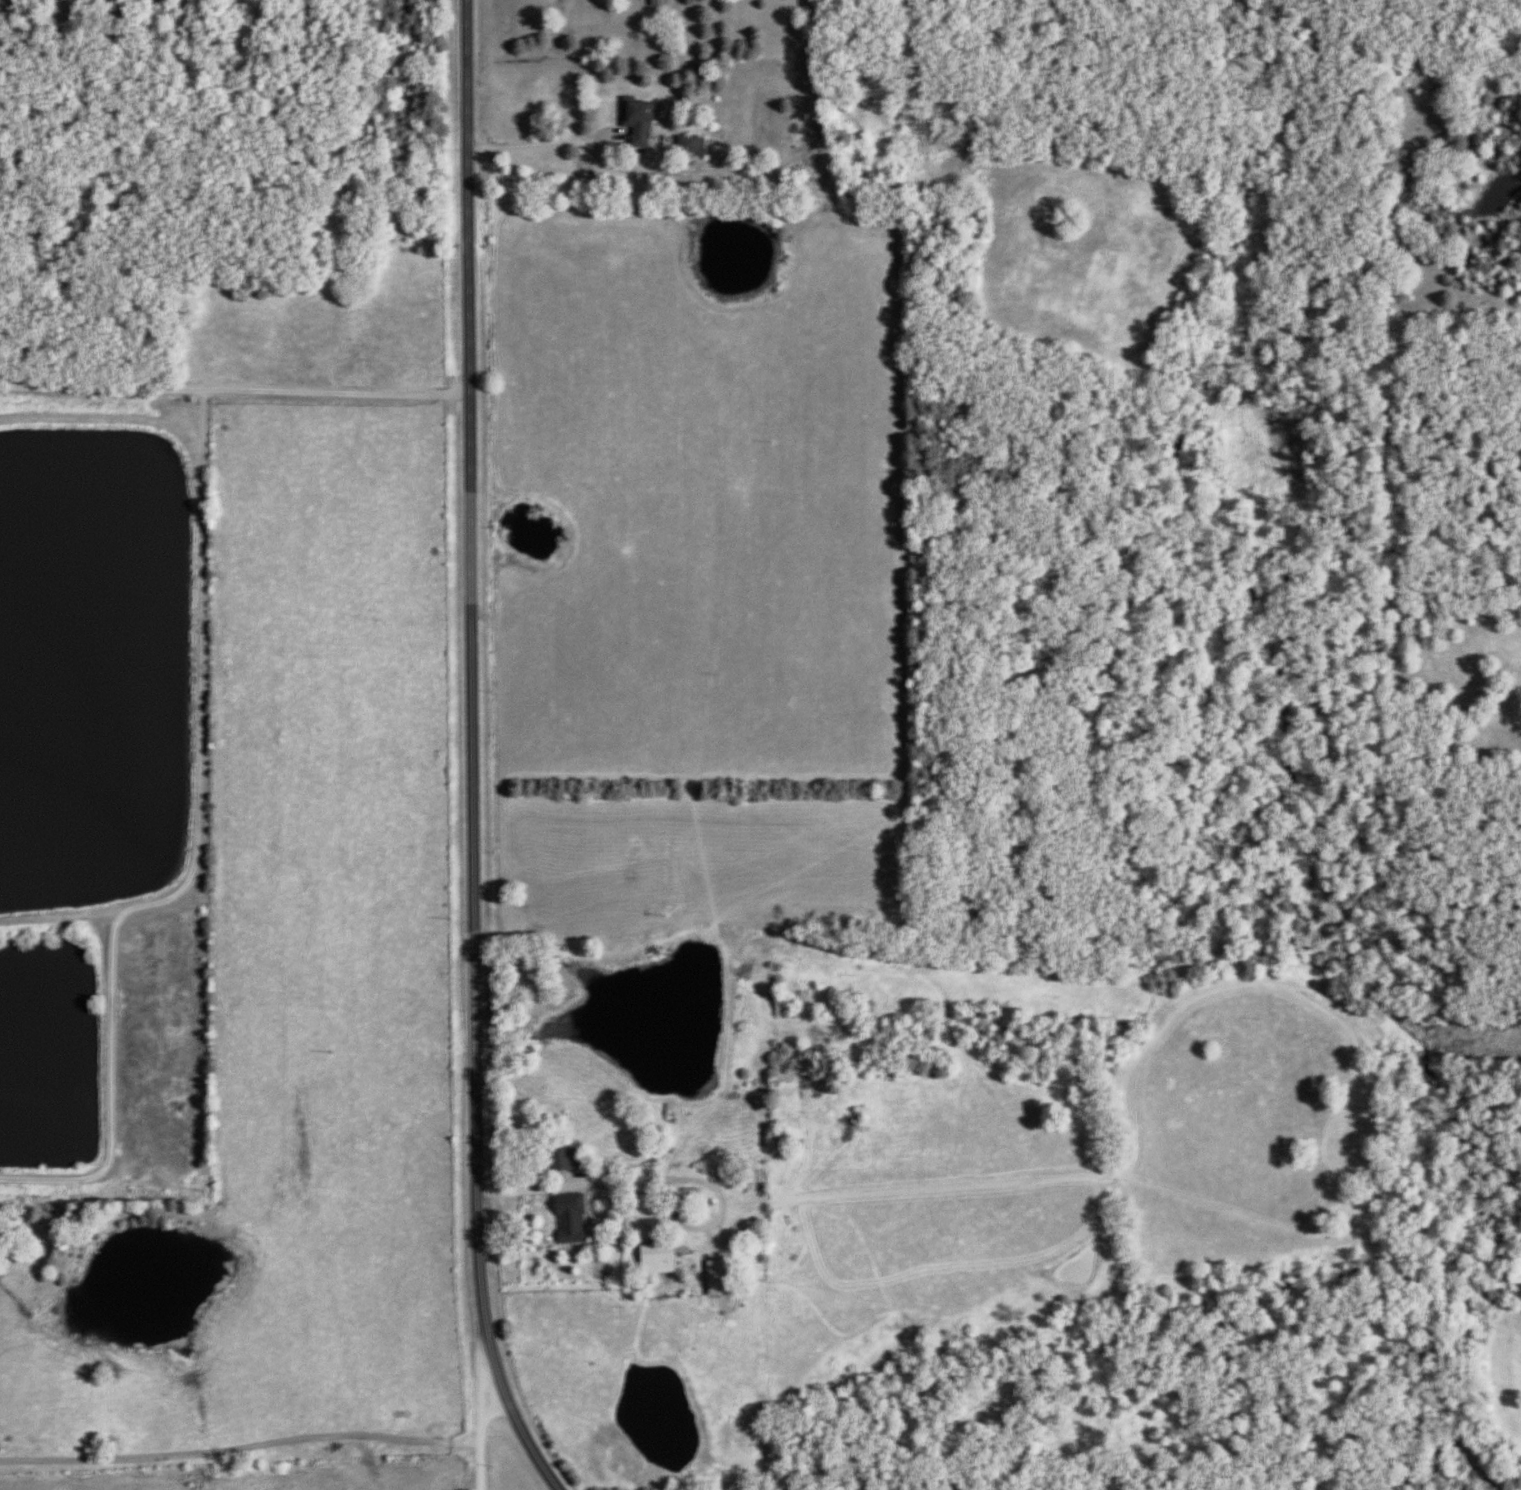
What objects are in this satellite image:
building: (634, 119)
building: (686, 144)
road: (544, 146)
road: (234, 389)
road: (473, 648)
building: (560, 1160)
road: (561, 1187)
road: (726, 1199)
building: (565, 1219)
building: (651, 1260)
building: (713, 1279)
road: (483, 1393)
road: (506, 1400)
road: (241, 1450)

